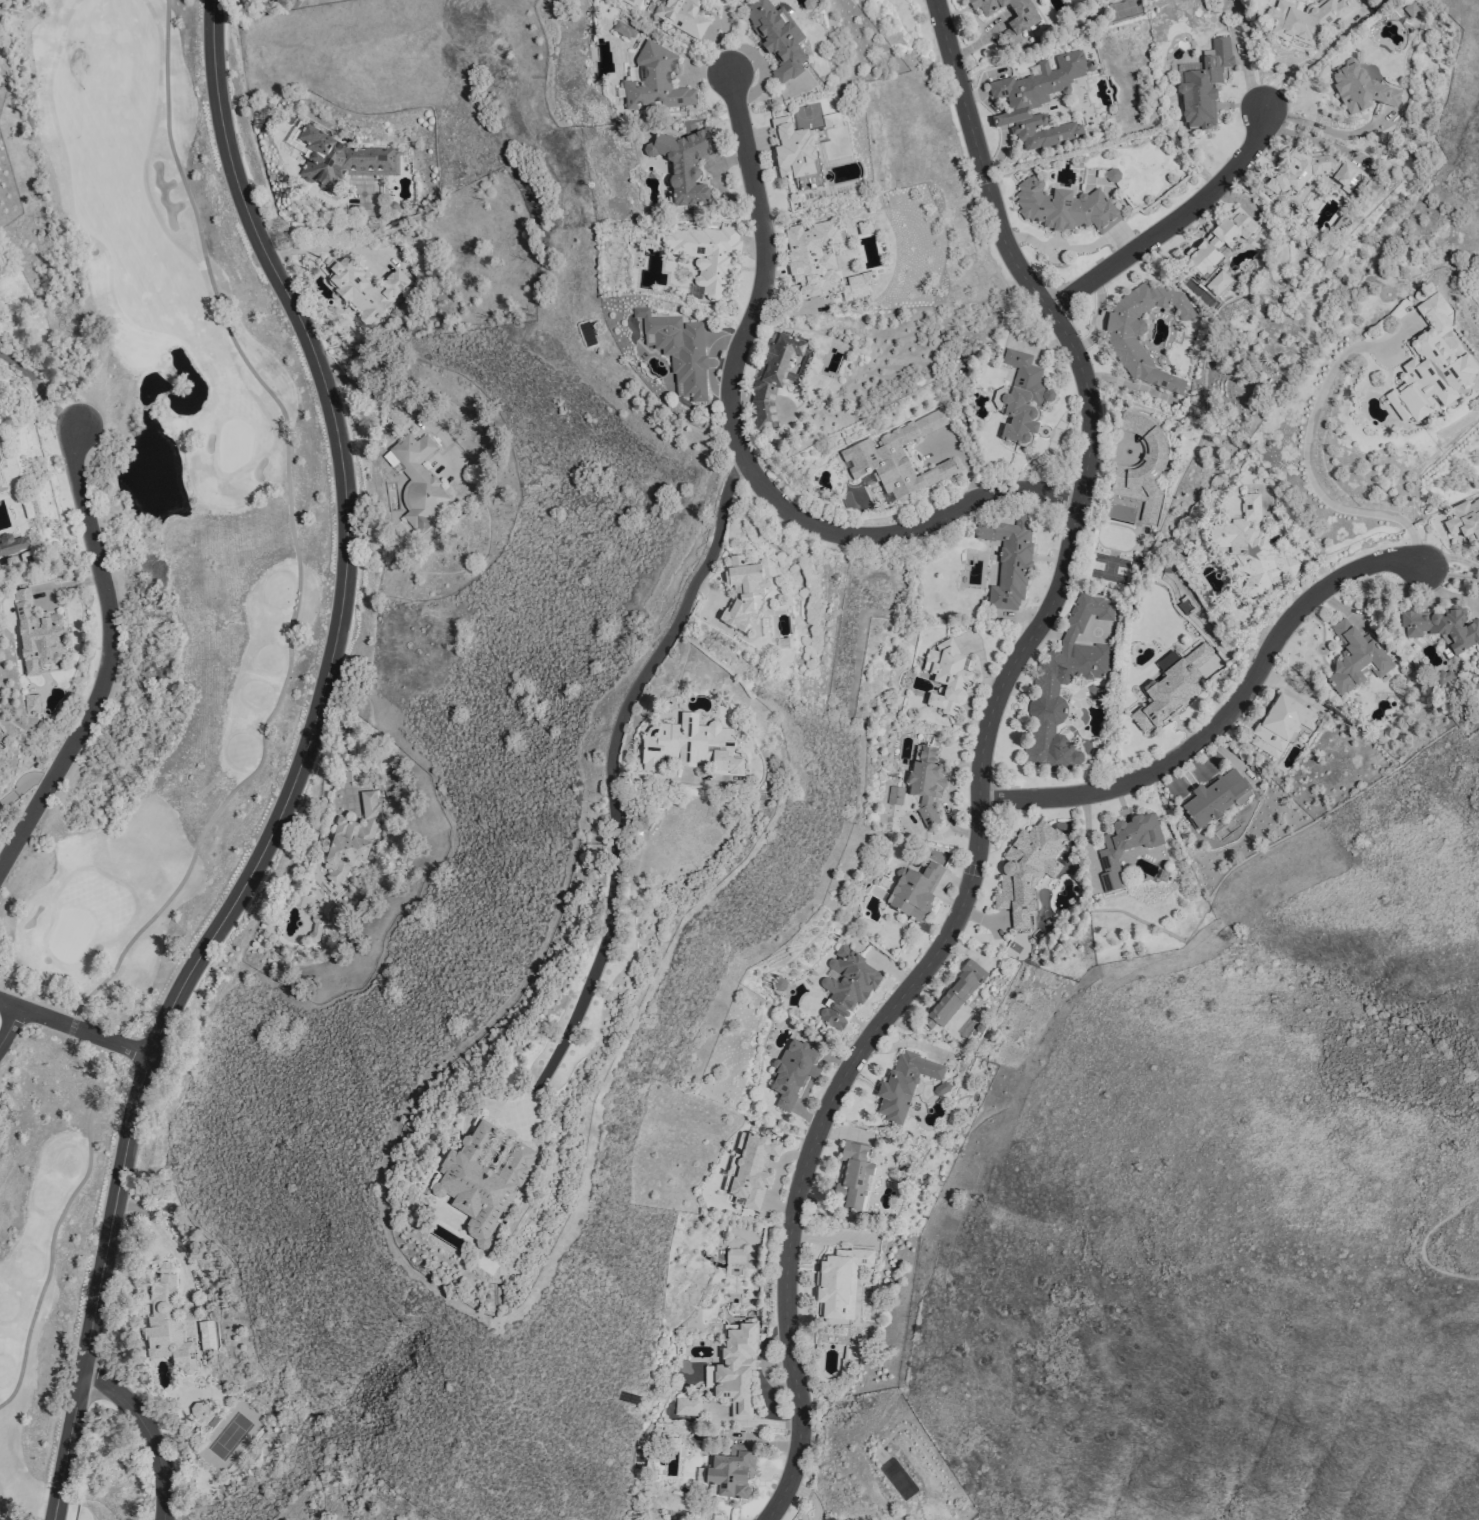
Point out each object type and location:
building: (630, 2)
building: (681, 16)
building: (1020, 18)
building: (1307, 20)
building: (622, 30)
building: (776, 38)
road: (1305, 61)
building: (1203, 85)
building: (1360, 89)
building: (1038, 102)
road: (1321, 128)
building: (790, 149)
building: (340, 159)
building: (683, 164)
building: (1111, 174)
building: (1289, 178)
building: (1062, 207)
road: (1177, 221)
road: (335, 229)
building: (1218, 241)
road: (333, 247)
building: (707, 255)
building: (812, 257)
building: (1217, 282)
building: (856, 285)
building: (362, 287)
building: (1140, 333)
building: (676, 349)
building: (1429, 366)
building: (771, 376)
road: (38, 389)
building: (1021, 399)
road: (397, 407)
road: (1052, 444)
road: (741, 449)
building: (896, 458)
road: (1308, 461)
building: (1142, 466)
building: (416, 479)
building: (1465, 521)
building: (12, 544)
building: (1252, 549)
building: (1010, 565)
road: (1449, 578)
building: (740, 592)
park: (141, 613)
road: (333, 621)
building: (1443, 627)
building: (36, 634)
road: (104, 657)
building: (1355, 659)
building: (945, 676)
building: (1065, 682)
building: (1175, 683)
building: (30, 703)
road: (1227, 716)
building: (1281, 725)
road: (260, 735)
building: (689, 746)
road: (982, 761)
road: (609, 766)
road: (20, 783)
building: (925, 783)
building: (1214, 798)
building: (352, 835)
building: (1124, 844)
building: (1026, 871)
building: (314, 931)
building: (973, 967)
building: (844, 986)
building: (950, 999)
road: (6, 1018)
road: (71, 1026)
building: (791, 1071)
building: (905, 1084)
building: (748, 1169)
building: (853, 1177)
road: (1421, 1242)
road: (172, 1253)
building: (733, 1255)
building: (838, 1281)
building: (165, 1324)
building: (733, 1368)
road: (82, 1370)
building: (686, 1406)
building: (199, 1413)
road: (150, 1431)
building: (727, 1474)

